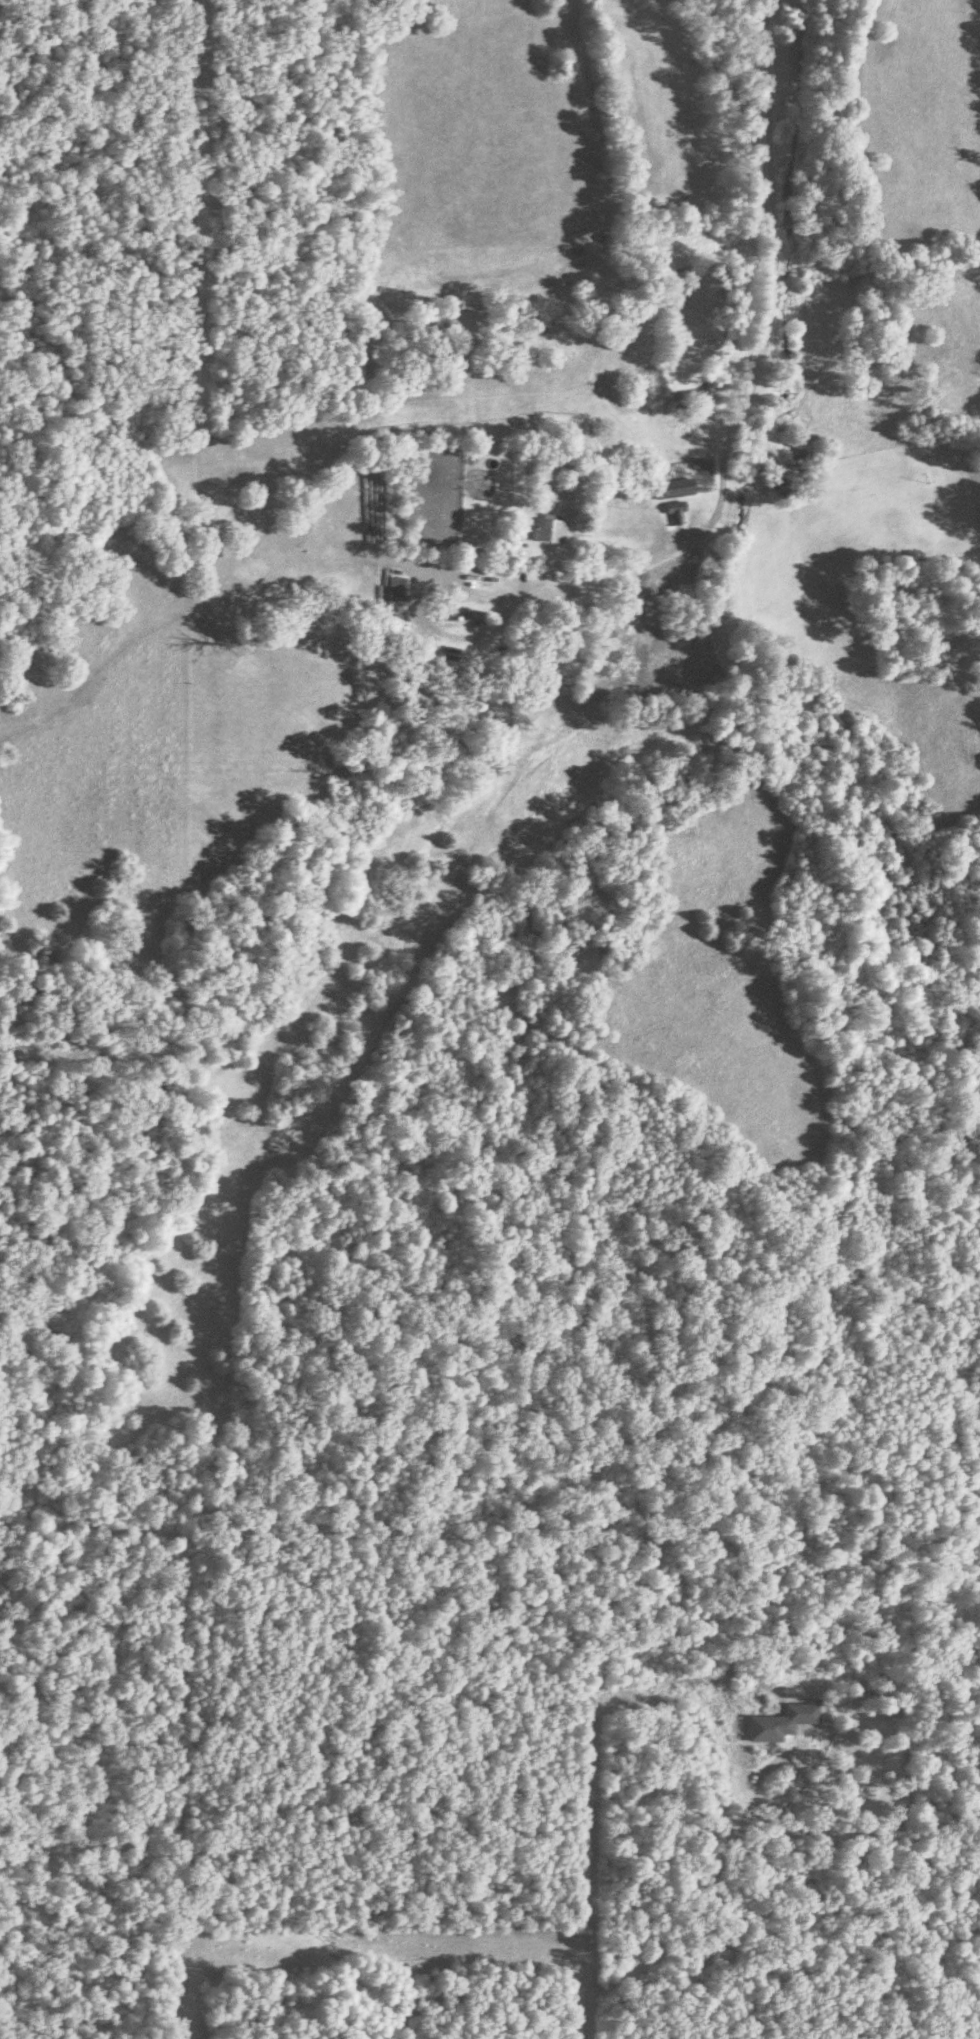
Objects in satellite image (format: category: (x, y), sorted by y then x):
road: (764, 307)
building: (674, 490)
building: (676, 515)
building: (549, 532)
building: (781, 1724)

